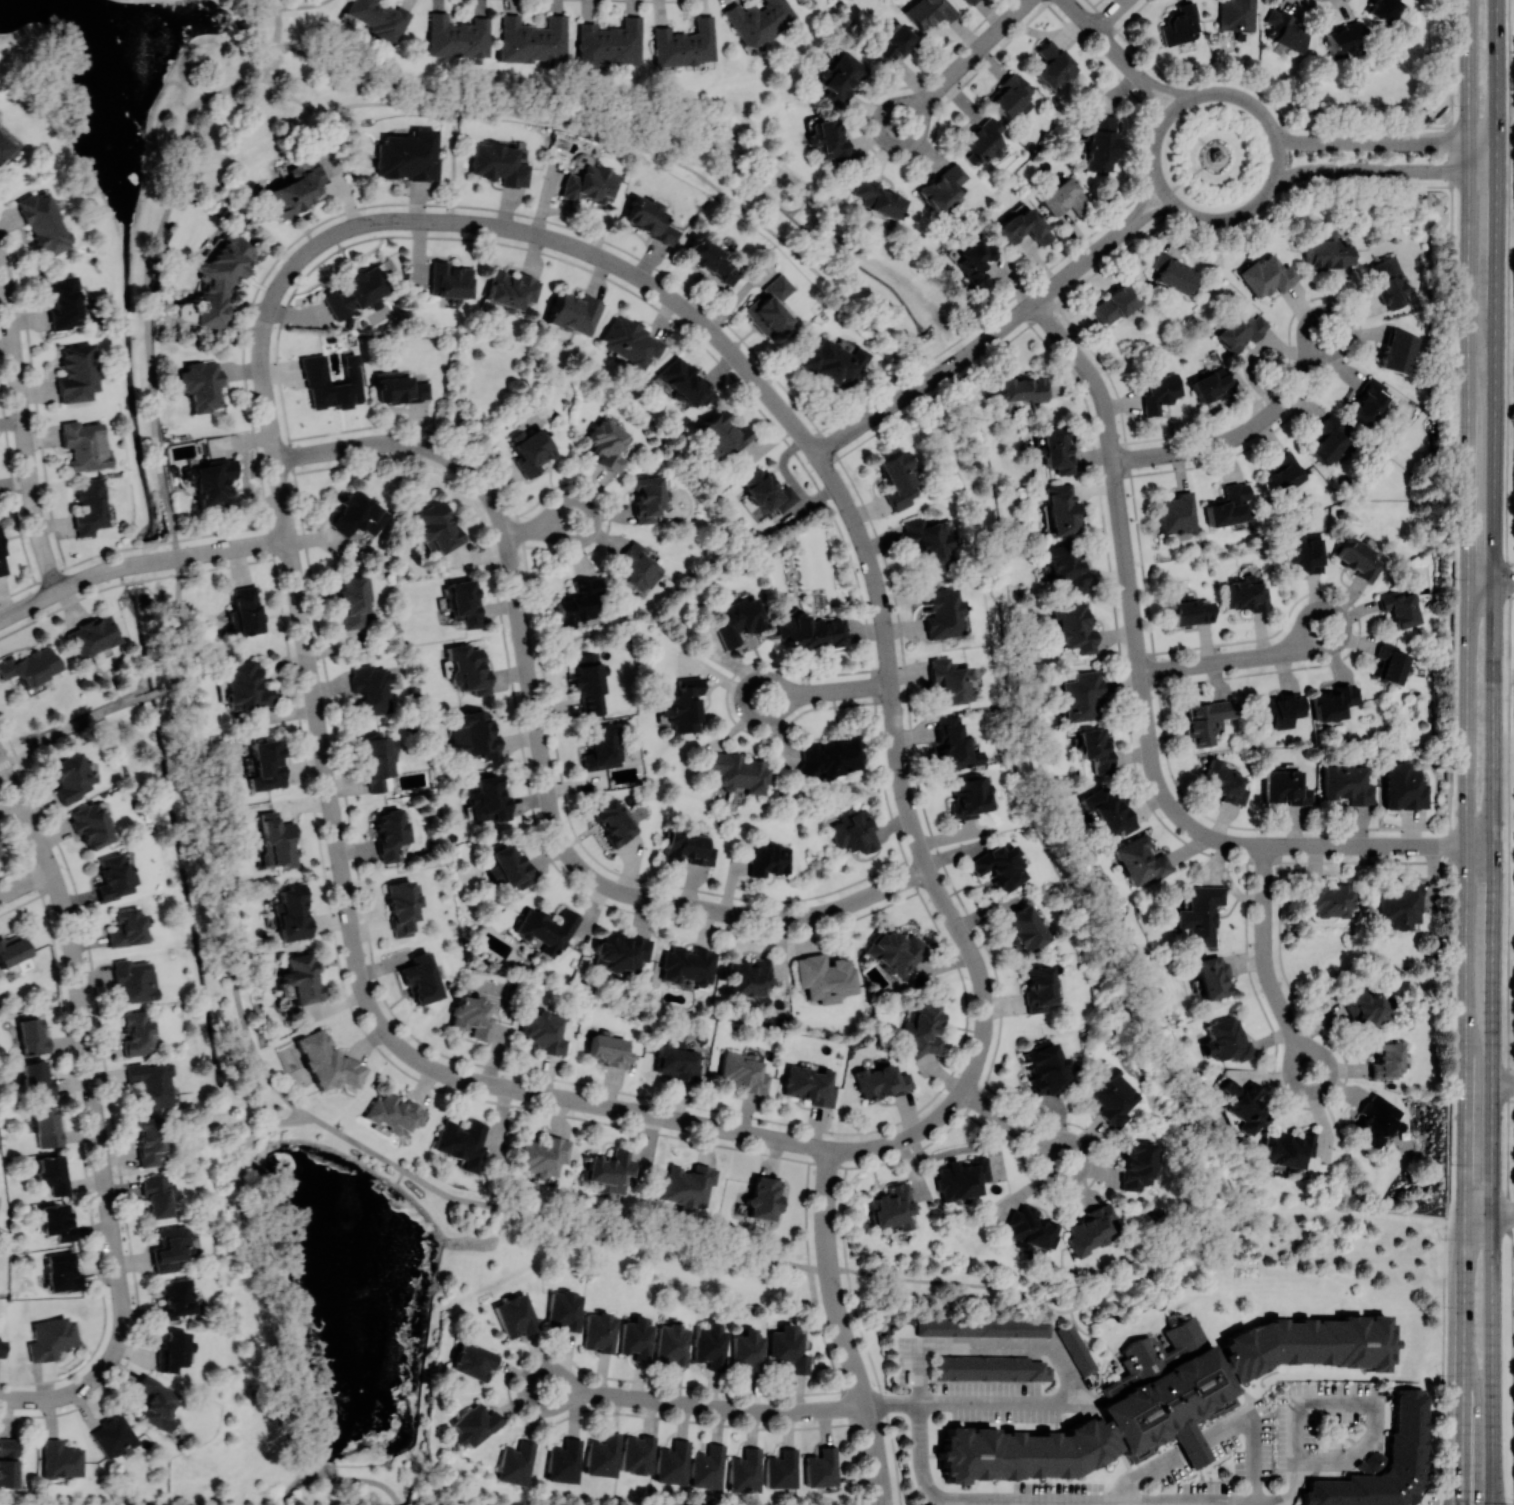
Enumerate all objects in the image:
building: (968, 2)
road: (302, 6)
building: (1381, 9)
building: (929, 12)
building: (1236, 14)
road: (1111, 15)
fountain: (155, 18)
building: (379, 19)
building: (758, 20)
building: (1180, 24)
building: (1285, 30)
building: (457, 36)
road: (1103, 37)
road: (277, 38)
building: (531, 39)
building: (1346, 40)
building: (892, 42)
building: (608, 43)
building: (684, 43)
road: (964, 63)
building: (1051, 64)
road: (1497, 72)
building: (839, 76)
road: (1152, 80)
road: (1470, 86)
road: (1180, 92)
building: (1012, 95)
road: (1155, 97)
road: (1191, 127)
building: (828, 139)
building: (982, 140)
road: (630, 141)
building: (1100, 141)
road: (1386, 143)
fountain: (112, 144)
building: (5, 145)
building: (409, 155)
road: (1202, 156)
building: (499, 163)
road: (454, 164)
road: (1383, 170)
road: (1186, 178)
building: (589, 184)
building: (942, 186)
building: (294, 188)
building: (1059, 196)
building: (878, 198)
road: (1263, 198)
road: (1143, 200)
road: (1149, 213)
road: (393, 220)
building: (649, 220)
road: (428, 221)
road: (451, 222)
building: (43, 223)
building: (1023, 226)
road: (1496, 226)
road: (528, 232)
road: (335, 234)
building: (1328, 251)
building: (710, 260)
building: (975, 264)
road: (1079, 266)
building: (1173, 273)
building: (1267, 275)
building: (449, 280)
building: (216, 282)
building: (511, 288)
building: (356, 290)
road: (149, 292)
road: (275, 295)
building: (62, 302)
building: (1114, 304)
building: (771, 309)
building: (574, 313)
road: (1015, 318)
building: (1241, 330)
road: (720, 340)
road: (262, 342)
building: (630, 342)
road: (980, 345)
building: (1397, 351)
building: (833, 361)
building: (315, 369)
road: (17, 370)
building: (76, 373)
building: (682, 382)
building: (201, 384)
building: (1211, 386)
building: (398, 387)
building: (1022, 388)
building: (1160, 392)
building: (1369, 402)
road: (268, 404)
road: (890, 405)
road: (1108, 423)
building: (721, 433)
road: (1242, 433)
building: (1327, 439)
building: (84, 444)
building: (608, 445)
building: (1056, 449)
building: (531, 450)
building: (1284, 473)
building: (899, 479)
building: (212, 480)
road: (1494, 485)
road: (33, 492)
building: (767, 492)
building: (648, 497)
building: (1229, 505)
building: (89, 506)
building: (1060, 509)
building: (1177, 512)
building: (357, 514)
building: (437, 526)
road: (544, 526)
building: (931, 540)
road: (508, 542)
road: (44, 547)
road: (216, 551)
road: (292, 551)
building: (1299, 552)
building: (2, 559)
building: (1358, 559)
road: (871, 563)
road: (125, 566)
building: (638, 567)
building: (1066, 569)
road: (1129, 579)
road: (1491, 580)
road: (53, 593)
building: (1245, 594)
building: (354, 601)
building: (463, 602)
building: (579, 602)
building: (1400, 607)
building: (244, 610)
building: (1189, 611)
building: (943, 612)
building: (736, 619)
road: (178, 620)
building: (1074, 626)
building: (810, 631)
building: (93, 636)
road: (308, 652)
road: (1510, 655)
road: (1237, 659)
building: (1391, 664)
building: (31, 665)
building: (467, 669)
building: (950, 680)
building: (588, 682)
road: (175, 685)
building: (245, 686)
building: (371, 688)
road: (834, 691)
road: (156, 692)
building: (1081, 695)
road: (770, 698)
building: (1333, 701)
building: (681, 705)
building: (1279, 710)
building: (1207, 720)
road: (70, 726)
building: (474, 734)
road: (897, 734)
building: (955, 744)
building: (602, 747)
building: (1095, 748)
road: (1449, 753)
building: (829, 757)
building: (267, 764)
building: (378, 764)
building: (736, 771)
building: (70, 777)
building: (1225, 782)
building: (1347, 784)
building: (1403, 786)
building: (1285, 787)
building: (969, 797)
building: (488, 798)
building: (1108, 810)
building: (614, 821)
building: (90, 825)
building: (853, 831)
building: (391, 833)
road: (1218, 838)
road: (1467, 838)
building: (278, 839)
building: (689, 846)
building: (0, 852)
building: (768, 859)
road: (575, 860)
building: (1140, 860)
building: (1000, 865)
building: (511, 866)
building: (494, 873)
building: (113, 875)
road: (26, 883)
road: (886, 888)
building: (1328, 898)
road: (221, 905)
building: (403, 906)
building: (1400, 906)
road: (716, 910)
road: (833, 910)
building: (293, 913)
building: (1200, 914)
building: (127, 927)
building: (1024, 928)
building: (547, 929)
building: (13, 948)
building: (895, 951)
building: (620, 952)
road: (1267, 962)
building: (688, 964)
building: (825, 976)
building: (302, 977)
building: (420, 977)
building: (1211, 977)
building: (751, 978)
building: (134, 979)
building: (1038, 987)
road: (1127, 991)
road: (366, 995)
building: (1367, 1007)
road: (987, 1010)
building: (472, 1016)
building: (544, 1031)
building: (136, 1033)
building: (32, 1036)
building: (1226, 1039)
building: (608, 1048)
building: (1387, 1060)
building: (327, 1061)
building: (678, 1061)
road: (89, 1064)
building: (1045, 1068)
building: (744, 1071)
building: (38, 1081)
building: (880, 1081)
building: (151, 1083)
road: (1492, 1084)
road: (1503, 1084)
building: (809, 1085)
building: (1111, 1096)
building: (1245, 1105)
building: (393, 1113)
building: (1377, 1119)
road: (681, 1120)
road: (1014, 1126)
building: (47, 1127)
road: (763, 1136)
building: (150, 1141)
building: (1288, 1149)
road: (961, 1150)
building: (544, 1155)
building: (1136, 1164)
building: (609, 1171)
road: (1358, 1172)
building: (53, 1174)
building: (962, 1177)
building: (688, 1185)
building: (158, 1196)
building: (763, 1197)
building: (892, 1208)
road: (1502, 1213)
road: (556, 1217)
road: (827, 1219)
fountain: (348, 1220)
building: (57, 1221)
building: (1031, 1228)
building: (1091, 1229)
building: (172, 1247)
building: (62, 1271)
fountain: (369, 1295)
building: (176, 1298)
road: (837, 1306)
building: (564, 1309)
building: (516, 1315)
road: (287, 1321)
building: (983, 1327)
building: (600, 1331)
building: (50, 1337)
building: (637, 1338)
road: (991, 1342)
building: (672, 1344)
building: (711, 1345)
building: (1, 1348)
building: (789, 1348)
building: (1076, 1348)
building: (173, 1349)
building: (749, 1350)
building: (473, 1361)
building: (990, 1367)
fountain: (371, 1380)
road: (567, 1389)
building: (1167, 1394)
road: (52, 1397)
building: (157, 1402)
road: (958, 1403)
road: (727, 1408)
road: (868, 1412)
building: (474, 1424)
road: (1253, 1430)
building: (113, 1435)
road: (1193, 1444)
building: (603, 1454)
building: (638, 1454)
building: (60, 1459)
building: (564, 1461)
building: (7, 1462)
building: (516, 1462)
building: (673, 1462)
building: (1384, 1464)
building: (708, 1466)
building: (822, 1467)
building: (782, 1469)
road: (1146, 1470)
building: (745, 1471)
road: (1216, 1500)
traffic signals: (1463, 1502)

